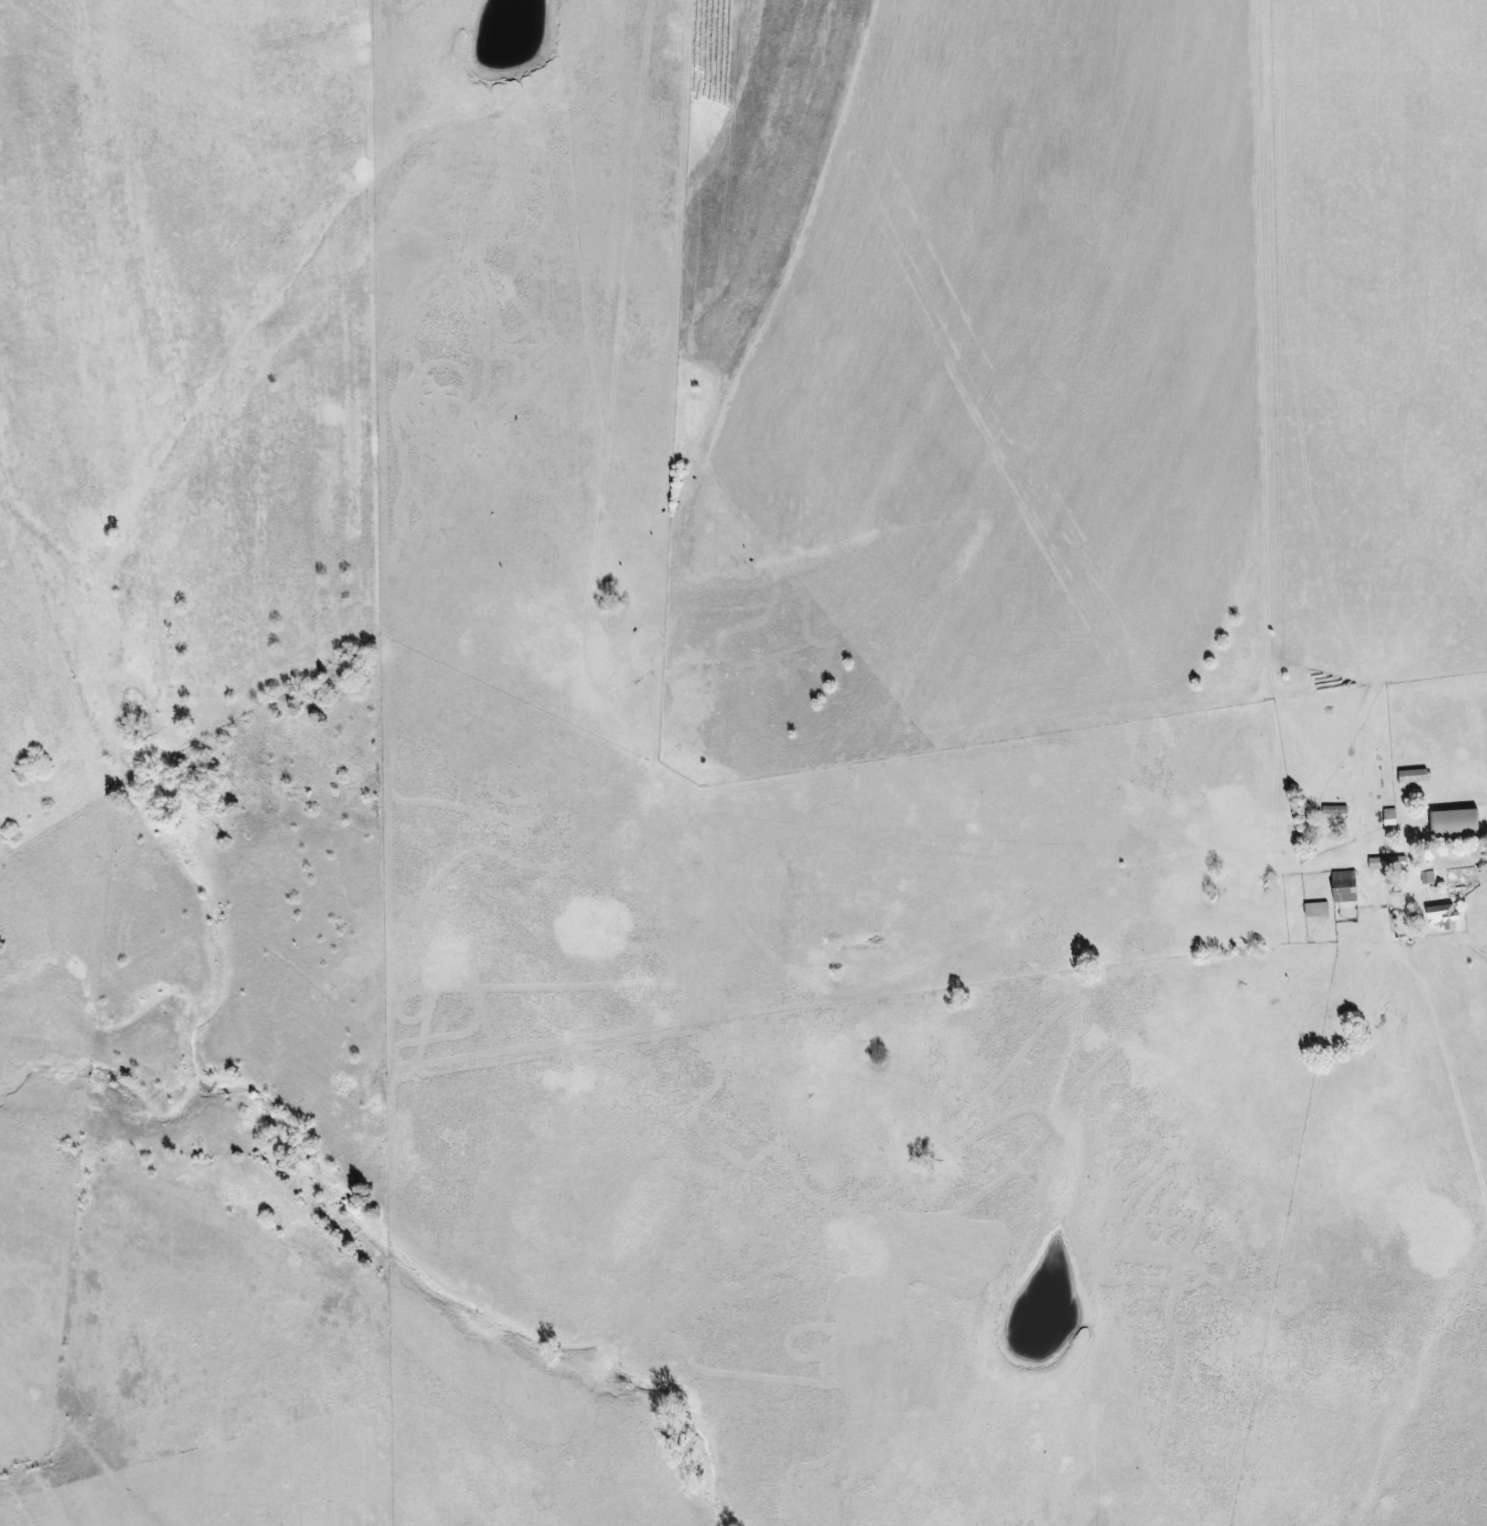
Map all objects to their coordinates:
building: (1455, 823)
building: (1444, 917)
road: (1449, 1101)

